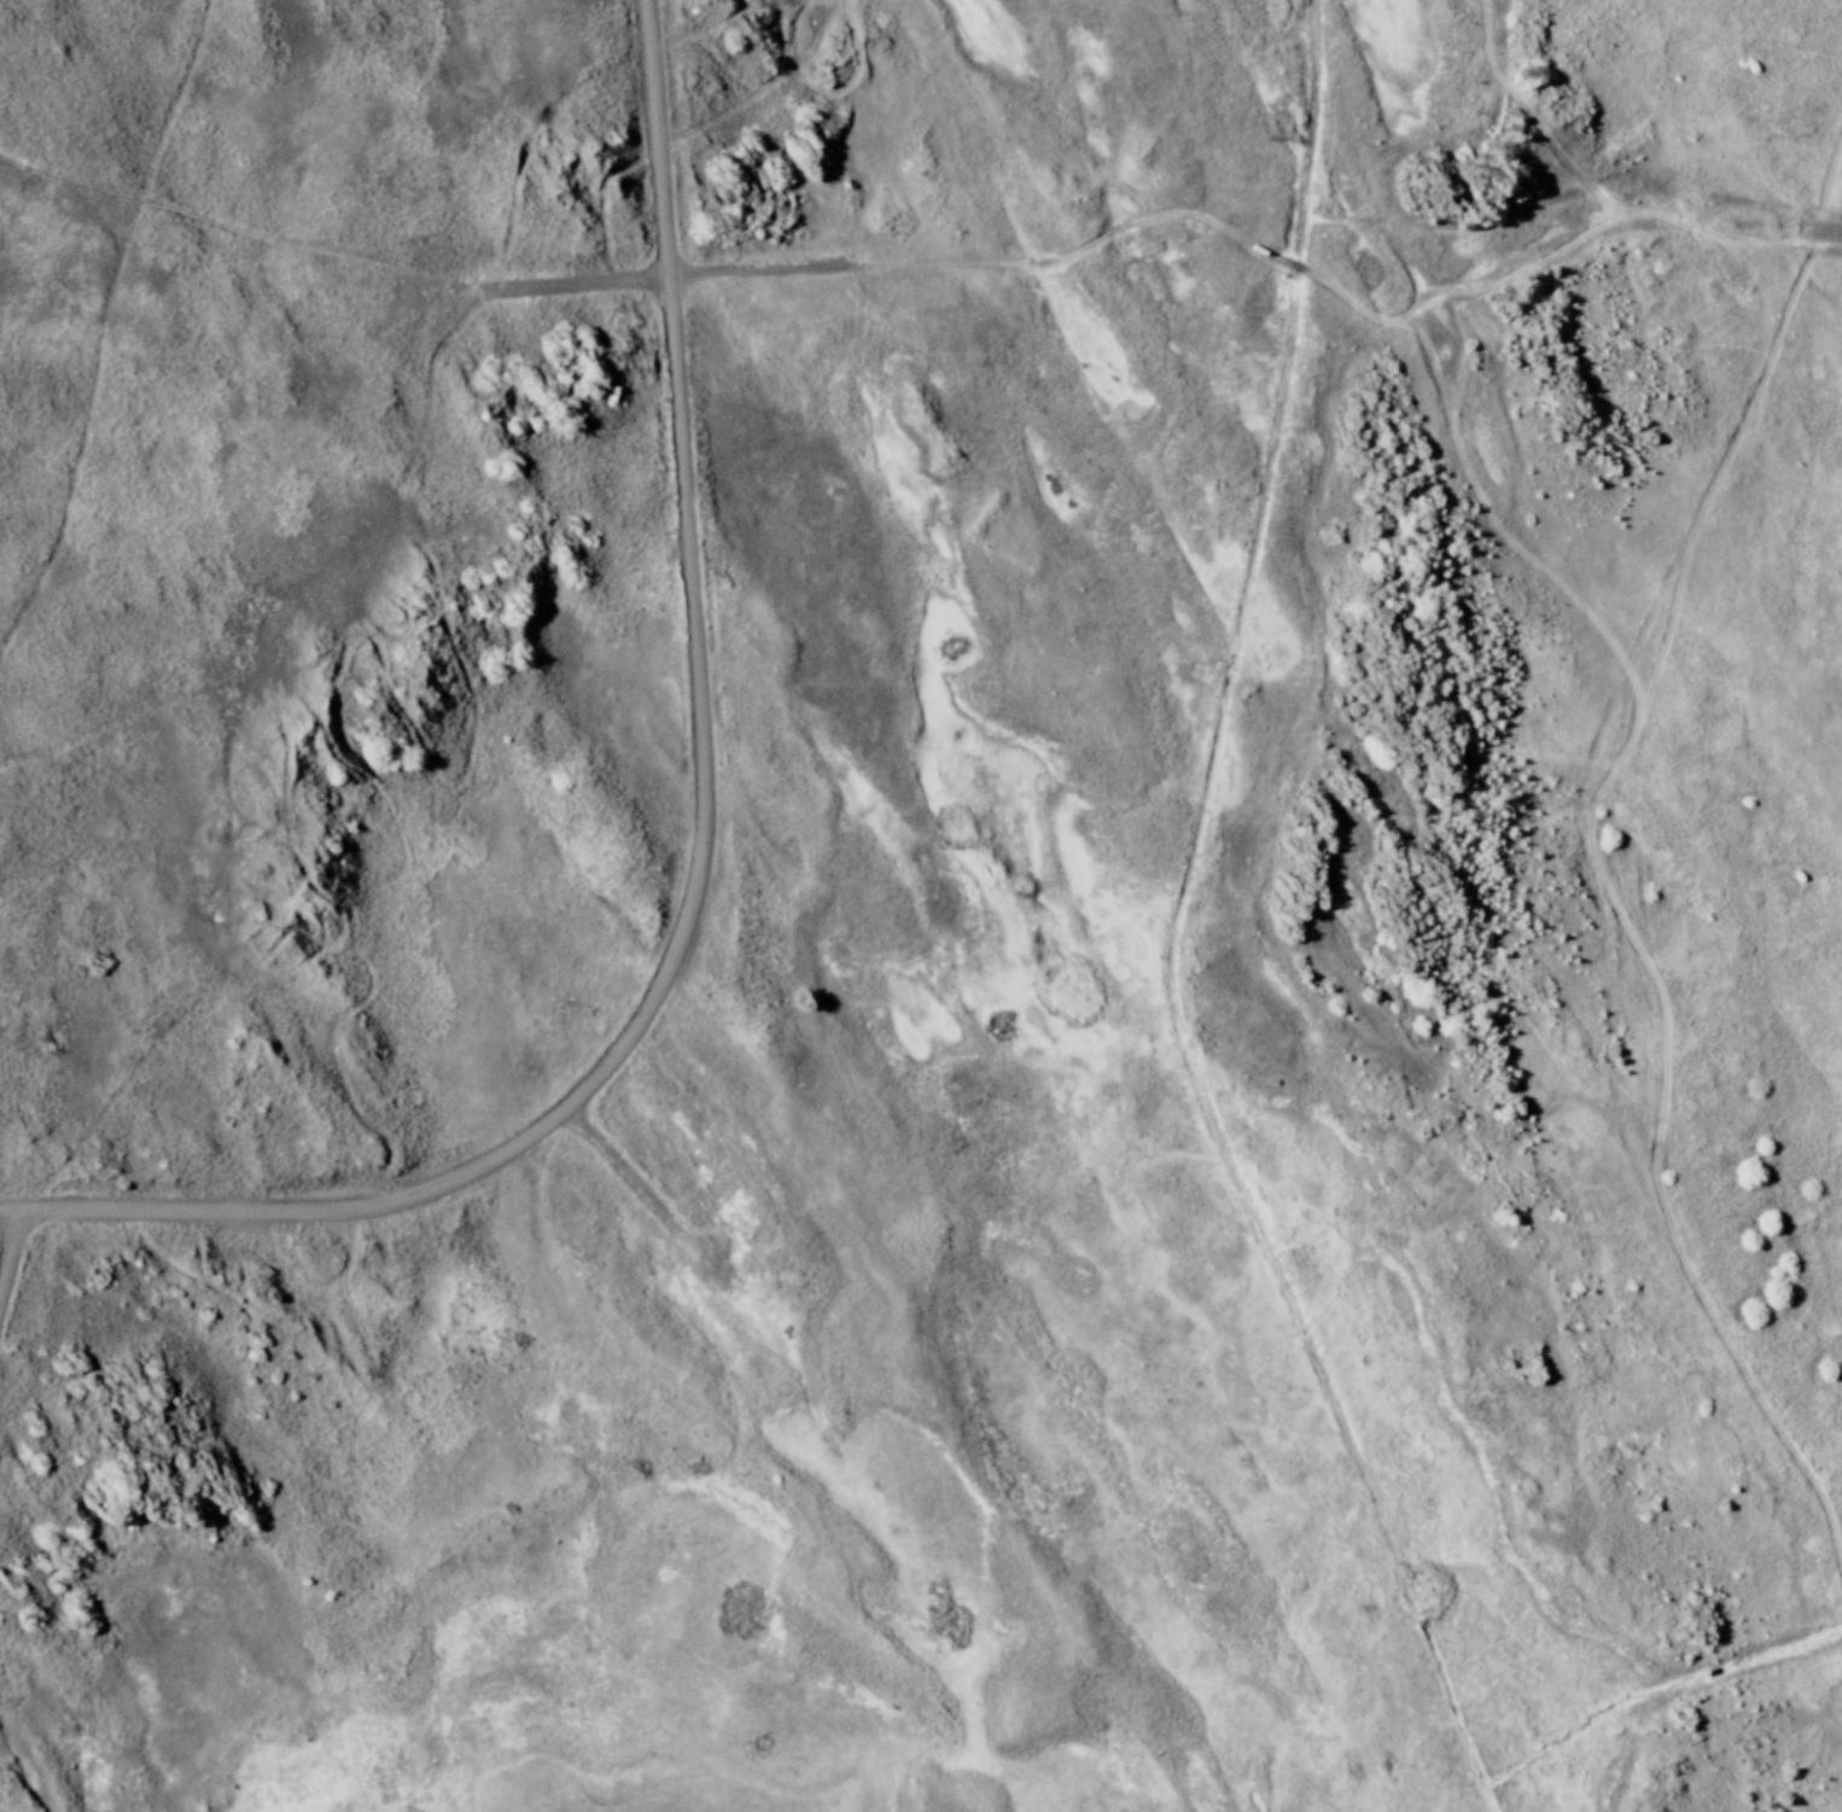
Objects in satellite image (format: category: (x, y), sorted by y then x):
road: (1826, 233)
road: (703, 872)
road: (11, 1257)

